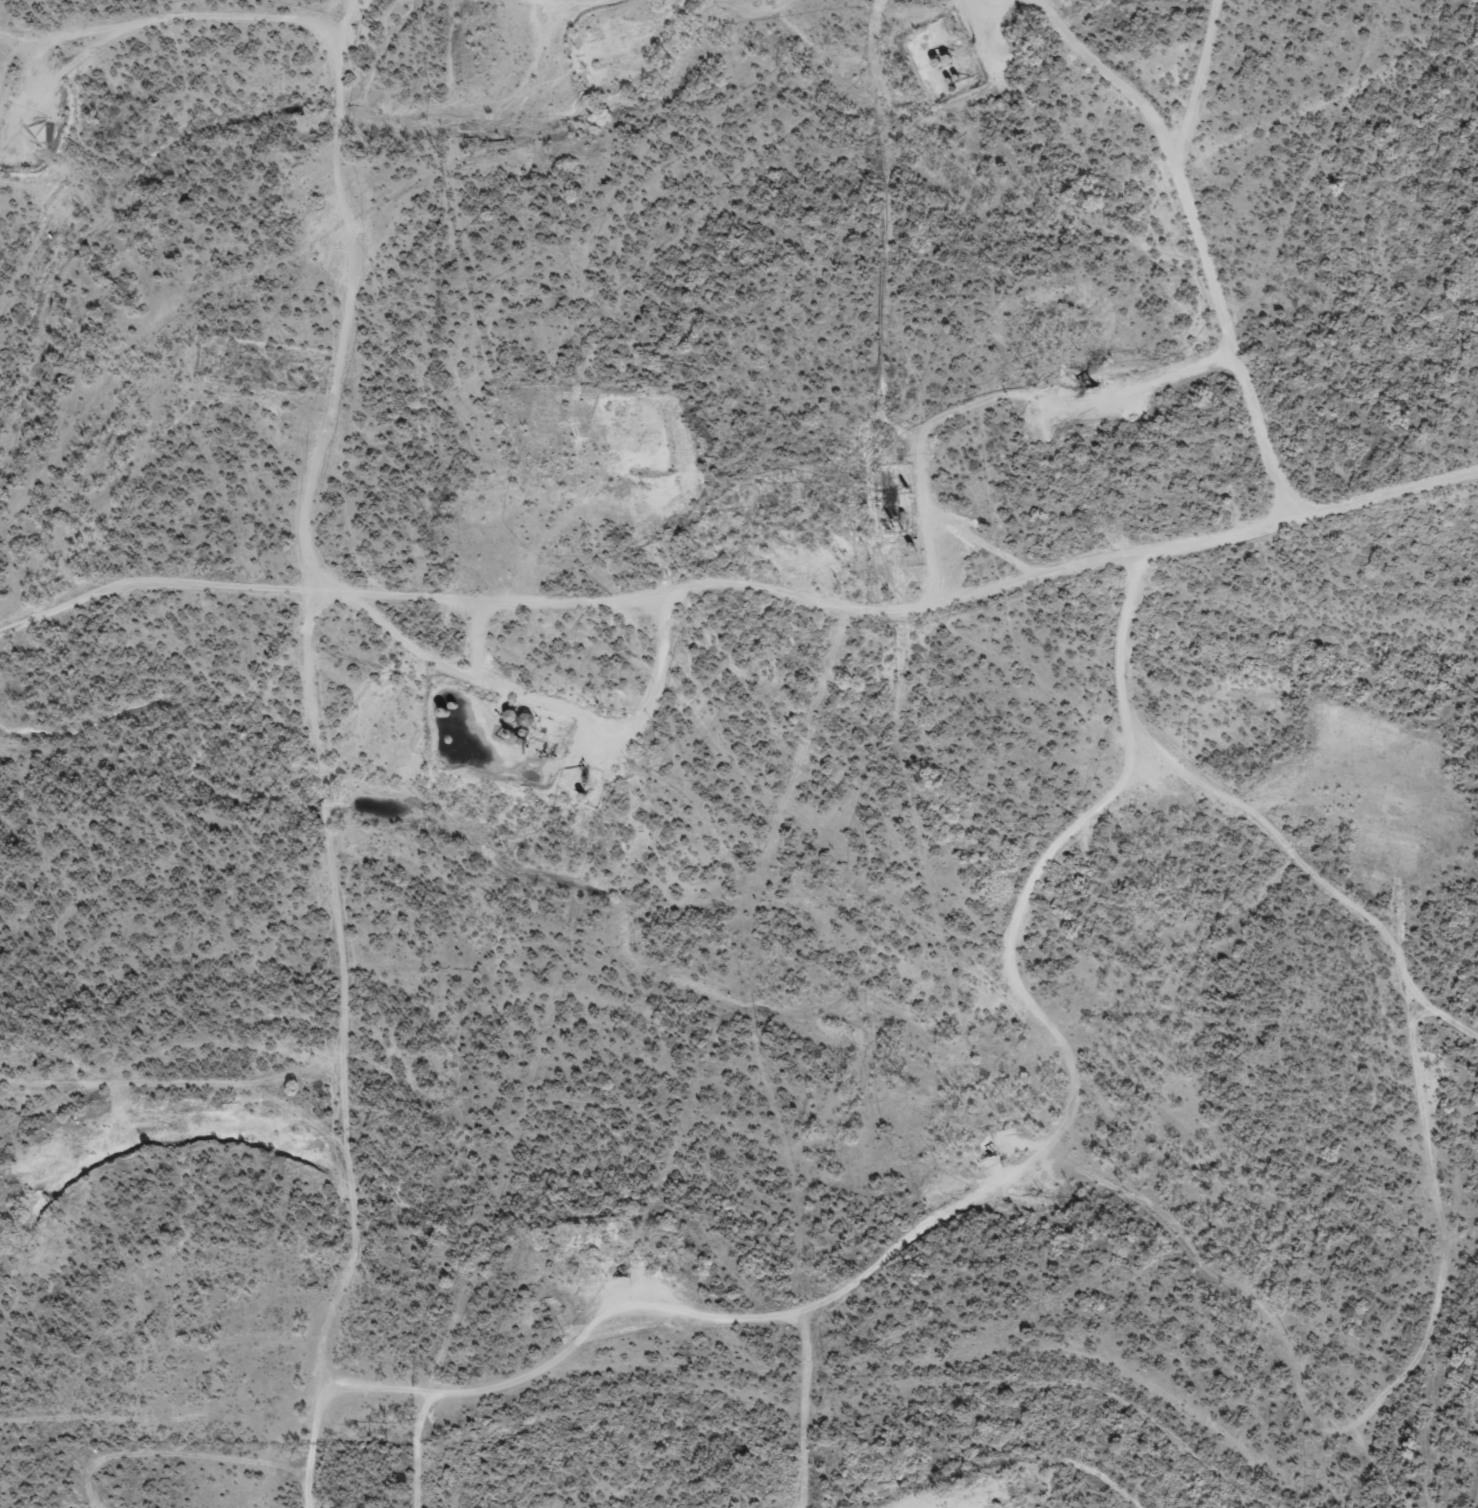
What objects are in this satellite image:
road: (684, 12)
road: (181, 47)
road: (1243, 126)
road: (1281, 255)
road: (920, 605)
road: (352, 751)
road: (1408, 1002)
road: (178, 1068)
road: (1049, 1494)

